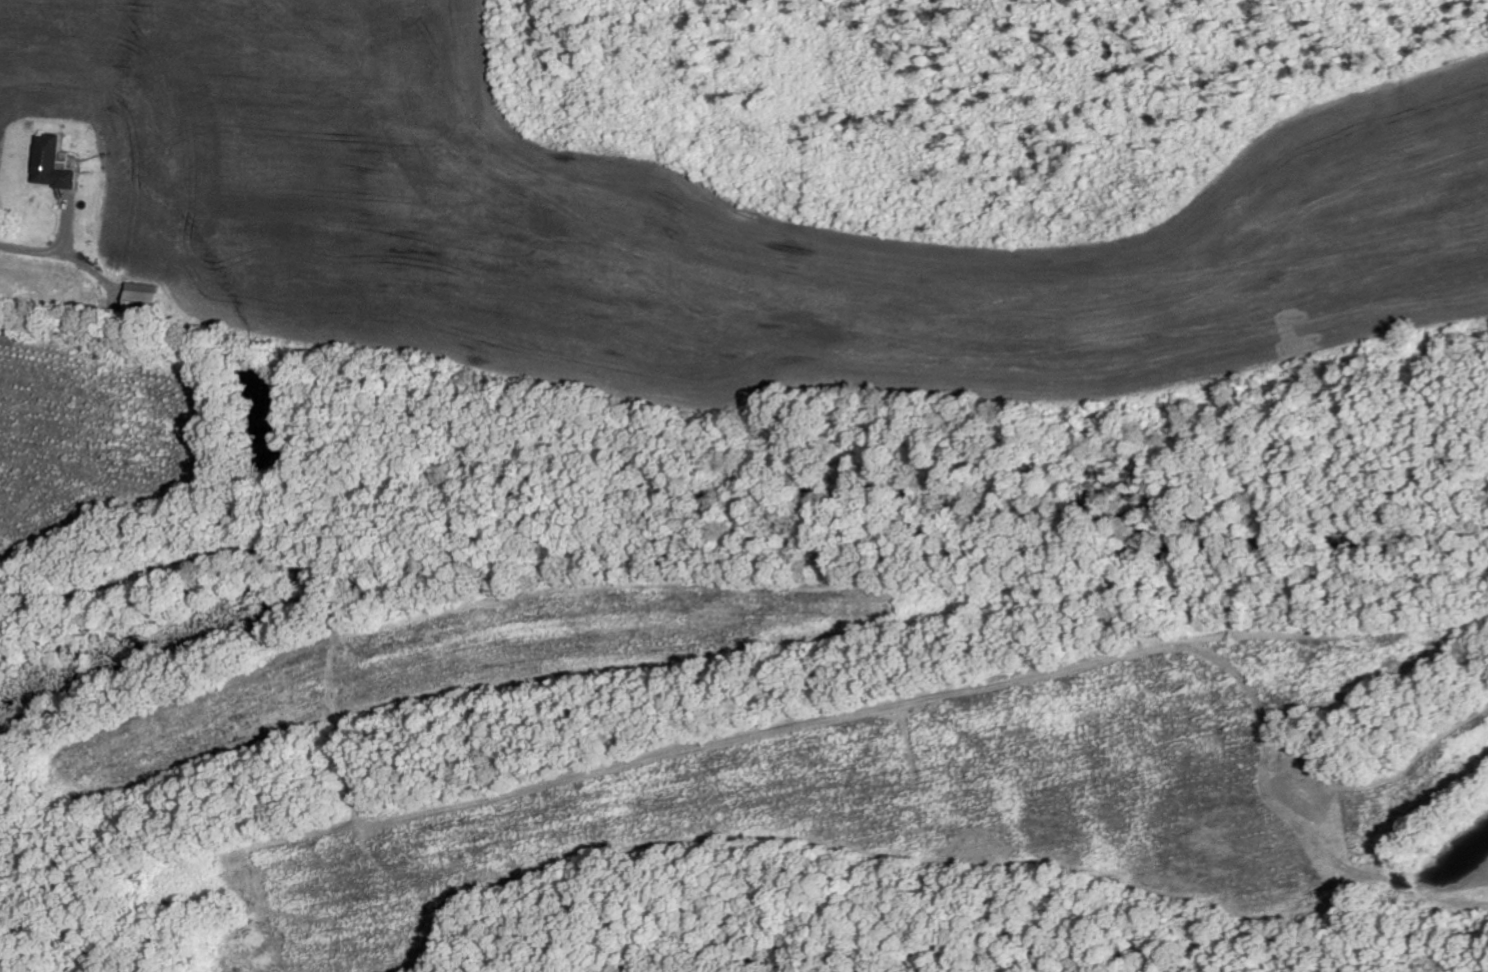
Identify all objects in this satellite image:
building: (57, 163)
building: (146, 297)
road: (16, 968)

